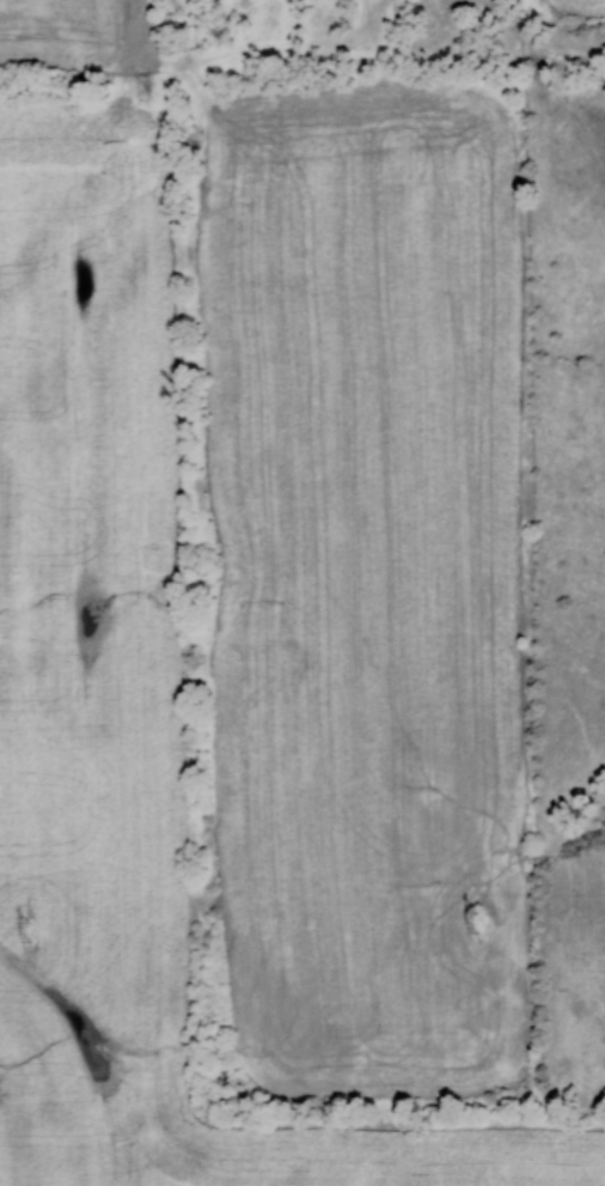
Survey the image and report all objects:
power tower: (476, 923)
power tower: (30, 932)

